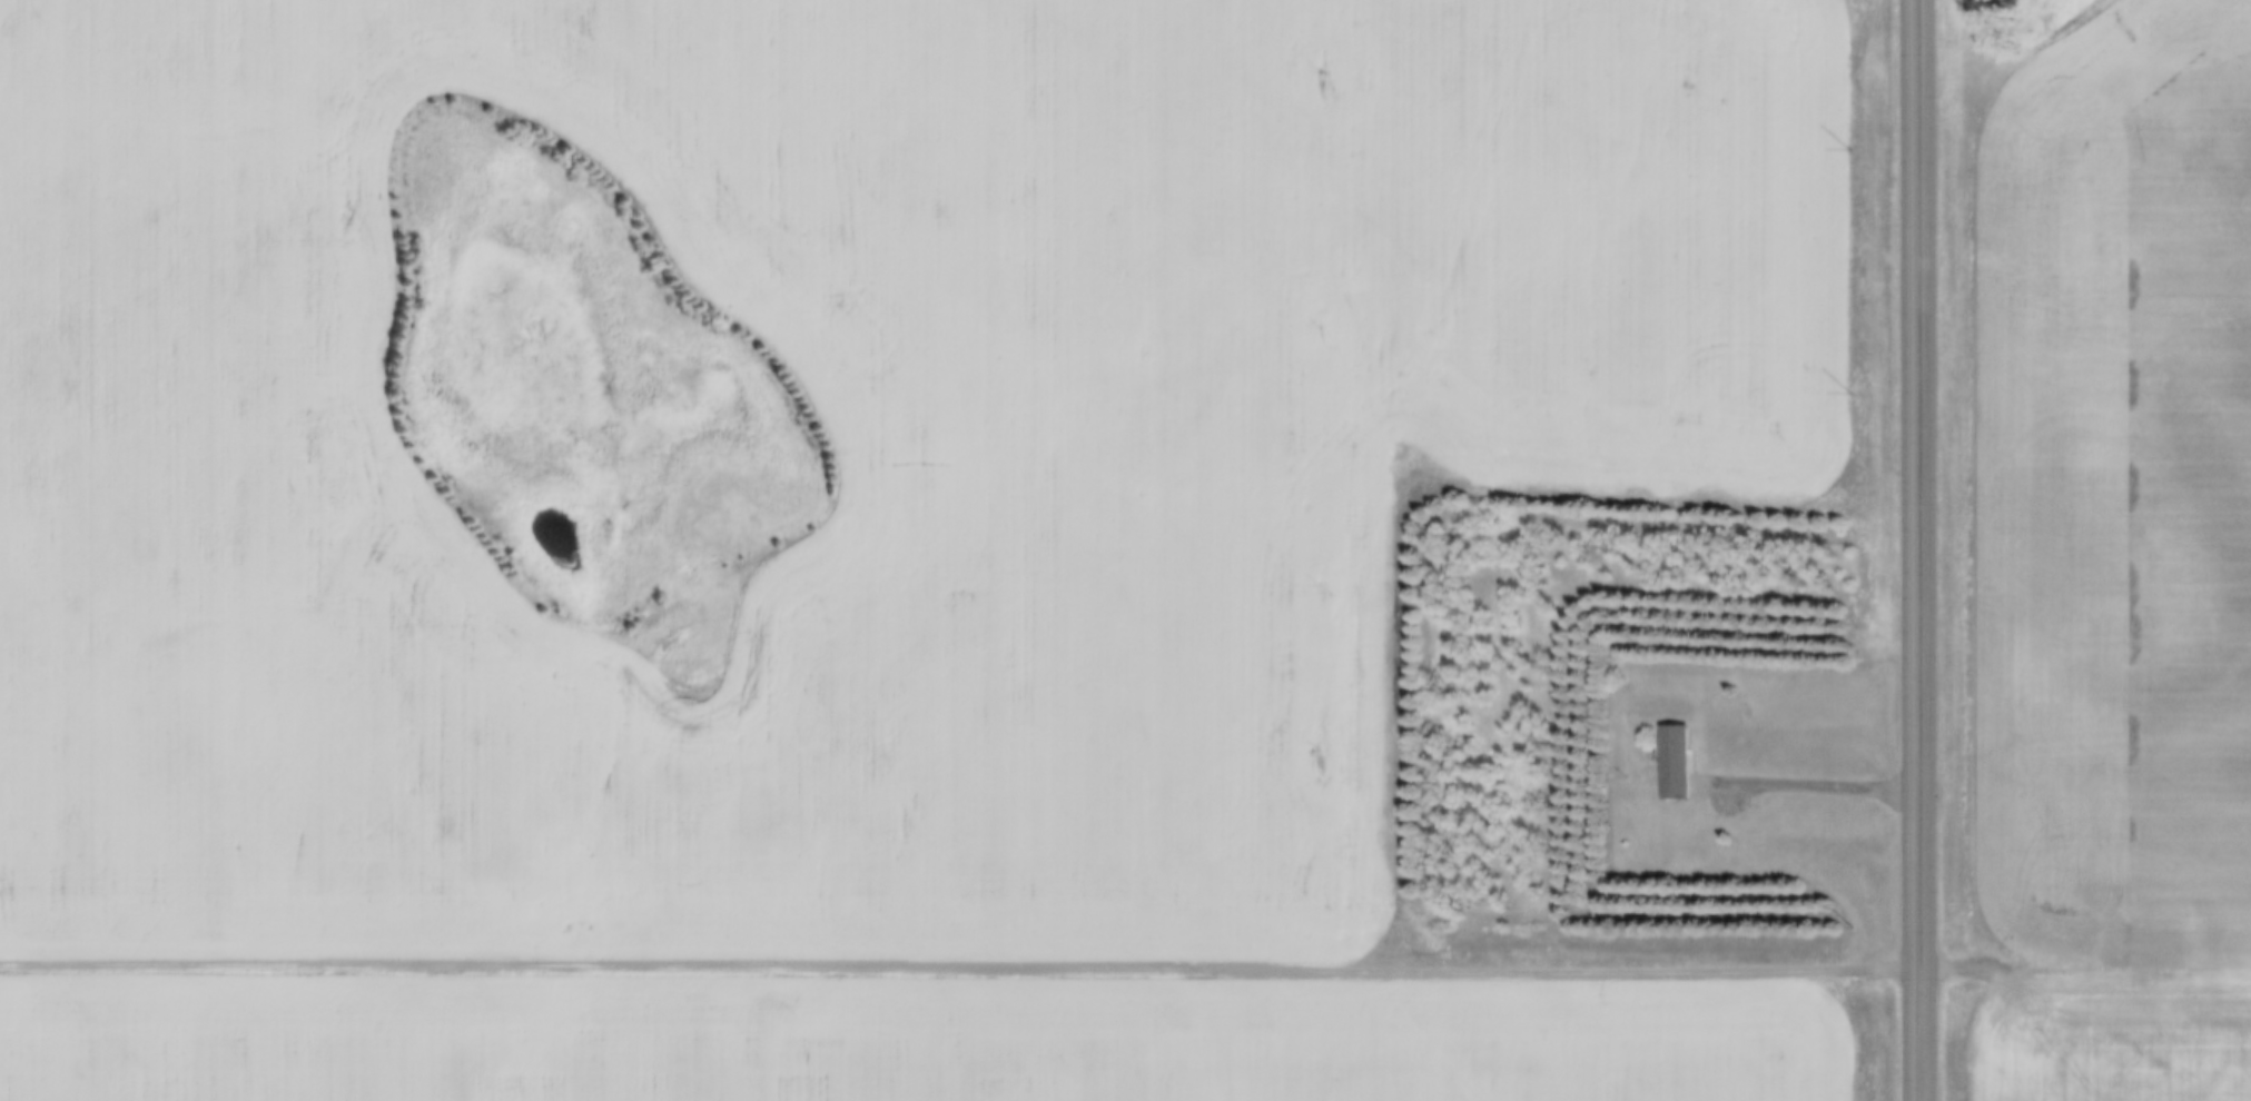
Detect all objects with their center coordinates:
road: (1918, 550)
building: (1678, 755)
road: (1810, 785)
road: (961, 968)

